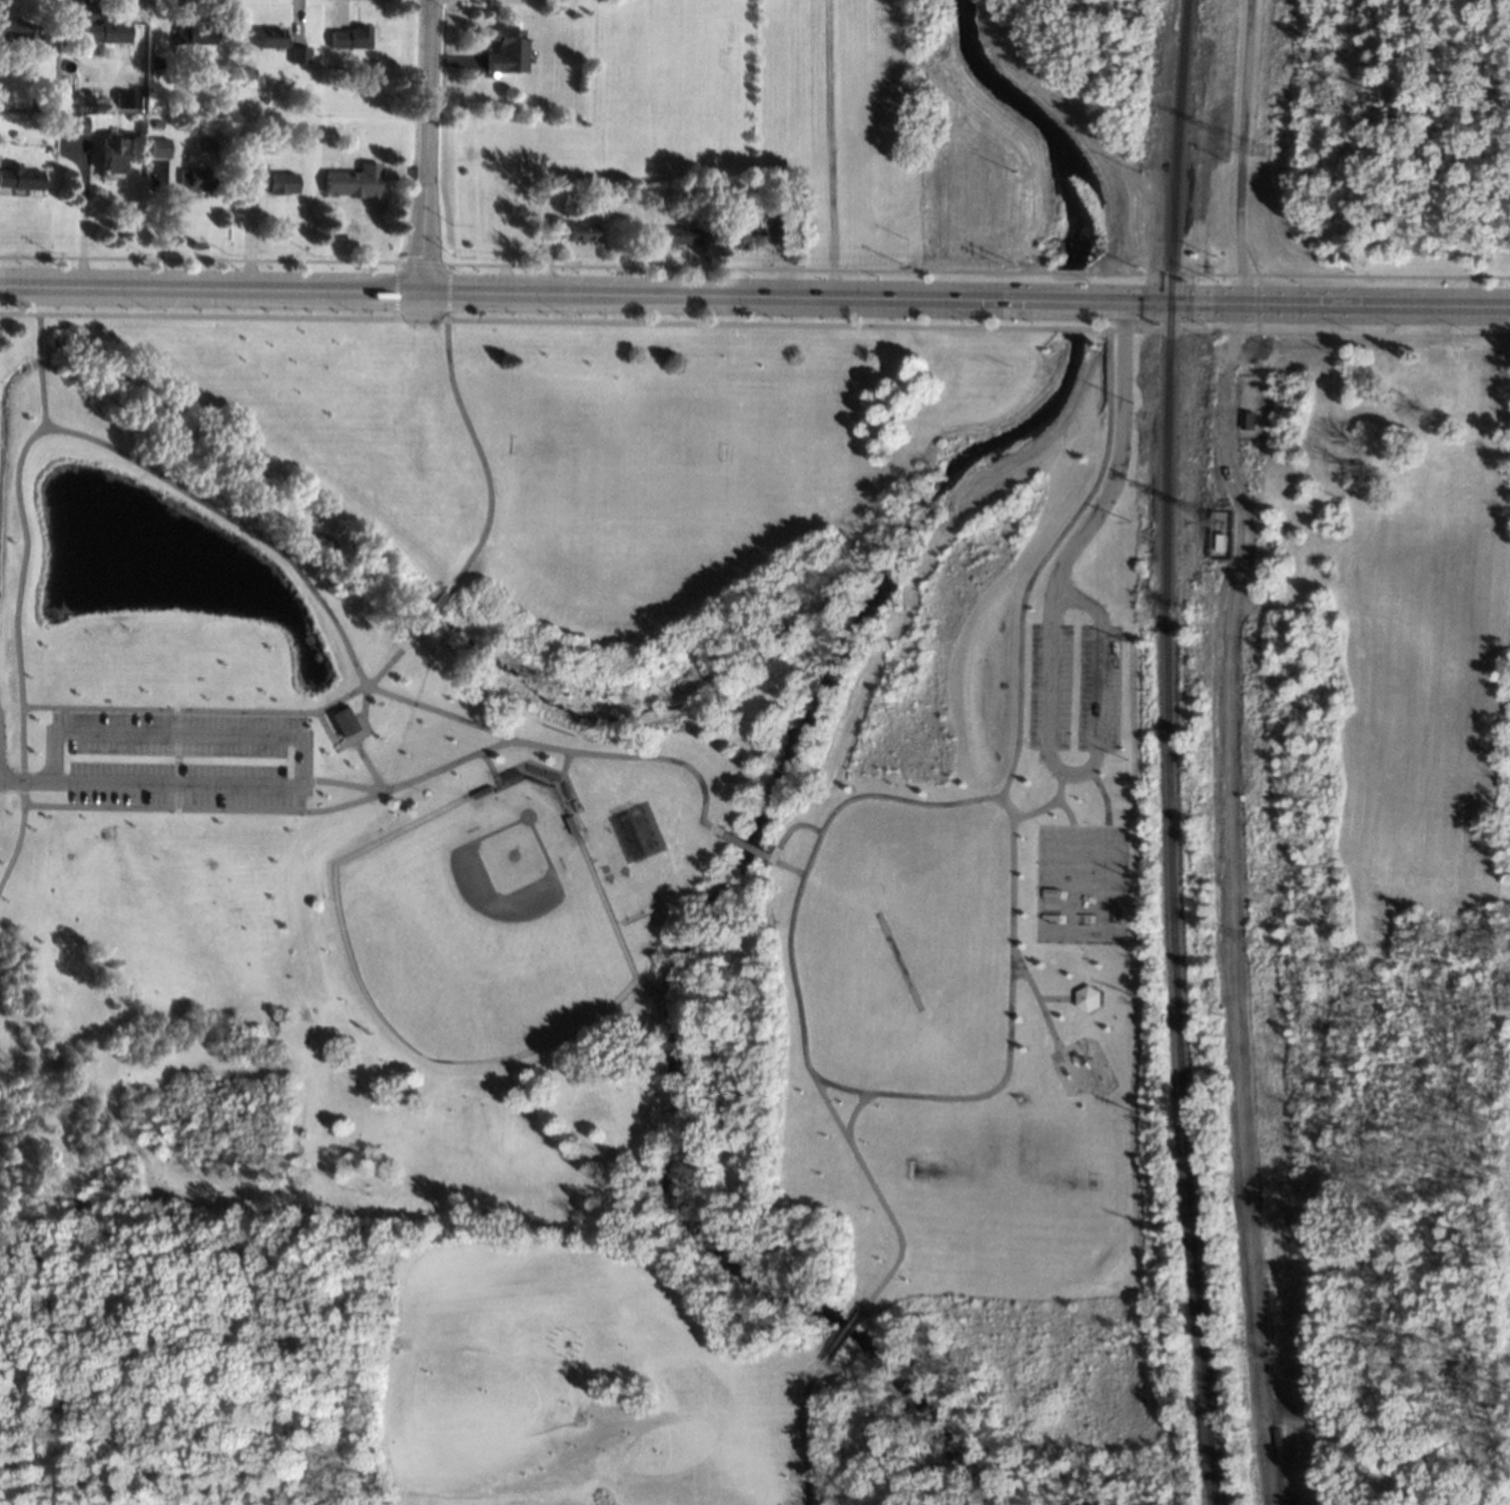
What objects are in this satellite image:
building: (13, 28)
building: (106, 31)
building: (192, 32)
building: (270, 36)
building: (350, 37)
building: (507, 50)
building: (298, 53)
building: (155, 62)
building: (335, 69)
building: (246, 71)
building: (149, 82)
building: (241, 83)
building: (125, 100)
building: (42, 104)
building: (74, 107)
building: (72, 123)
building: (155, 123)
river: (1036, 124)
park: (1066, 135)
road: (430, 145)
park: (1397, 145)
building: (159, 147)
road: (831, 148)
building: (109, 155)
road: (1241, 166)
building: (21, 175)
building: (195, 178)
building: (354, 180)
building: (269, 181)
building: (692, 197)
road: (83, 212)
building: (782, 225)
building: (572, 229)
building: (681, 234)
building: (747, 236)
road: (1374, 275)
road: (754, 295)
river: (1070, 300)
road: (616, 322)
road: (37, 370)
building: (1247, 420)
road: (75, 434)
road: (481, 459)
park: (611, 466)
building: (1220, 542)
road: (1043, 559)
road: (426, 616)
road: (1051, 648)
parking lot: (1049, 685)
parking lot: (1098, 687)
road: (196, 708)
building: (342, 720)
park: (1500, 721)
road: (305, 735)
road: (354, 736)
road: (534, 744)
railway: (1168, 752)
parking lot: (176, 757)
parking lot: (54, 758)
road: (368, 763)
road: (26, 779)
road: (344, 783)
road: (1102, 794)
road: (1048, 805)
road: (259, 810)
road: (1066, 811)
road: (780, 844)
road: (15, 845)
road: (746, 845)
park: (1078, 882)
park: (1391, 900)
park: (568, 904)
park: (486, 925)
river: (695, 929)
road: (1034, 996)
building: (1086, 996)
road: (1054, 997)
road: (896, 1094)
road: (852, 1112)
road: (877, 1194)
road: (845, 1334)
road: (799, 1427)

